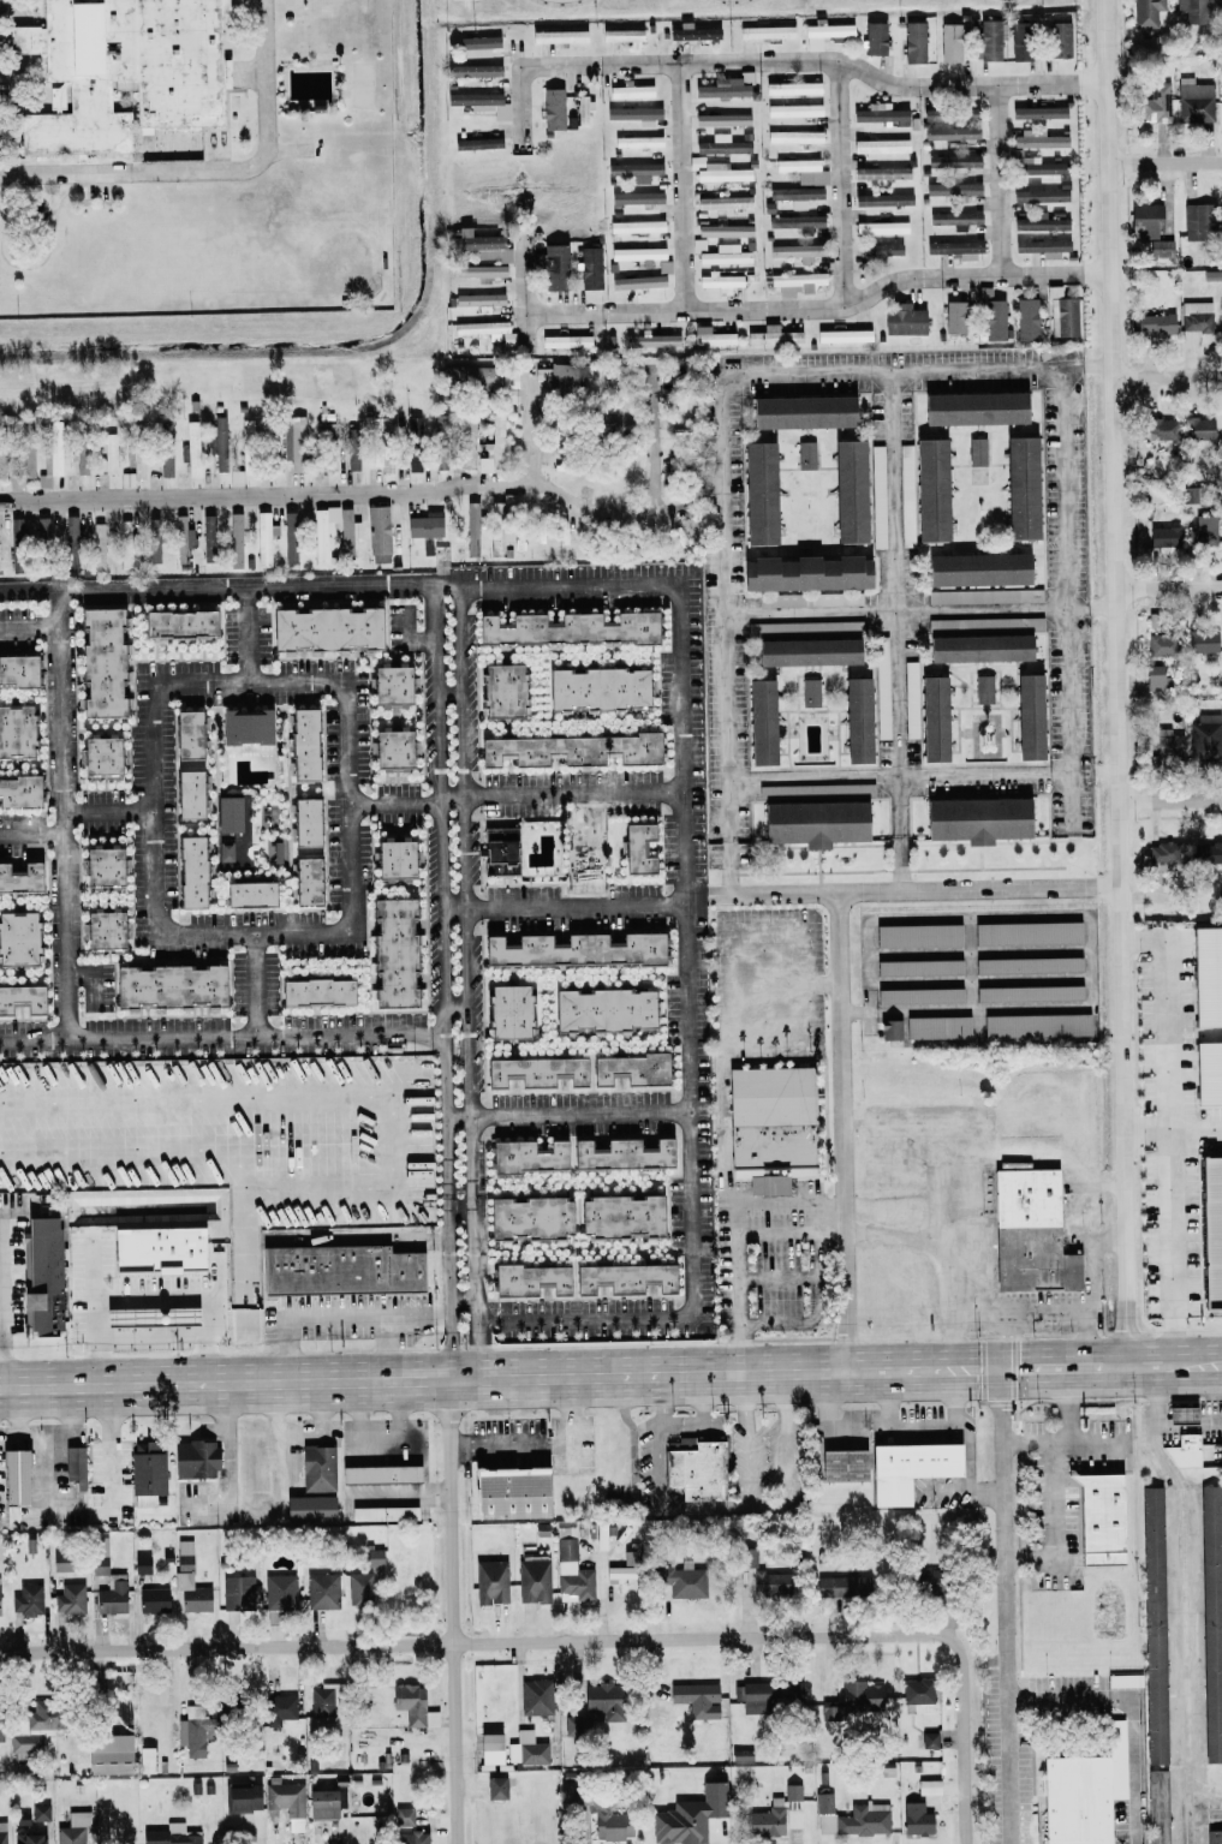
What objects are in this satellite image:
building: (1193, 11)
building: (1146, 12)
building: (691, 31)
building: (765, 31)
building: (823, 31)
building: (558, 35)
building: (622, 36)
building: (874, 37)
building: (990, 38)
building: (1059, 38)
building: (1019, 40)
building: (912, 41)
building: (949, 41)
building: (476, 46)
road: (770, 59)
building: (120, 70)
building: (471, 70)
building: (723, 86)
building: (792, 86)
building: (631, 90)
building: (1194, 100)
building: (481, 102)
building: (1155, 103)
building: (552, 108)
building: (583, 109)
building: (793, 109)
building: (1037, 112)
building: (634, 113)
building: (877, 113)
building: (947, 117)
building: (722, 119)
building: (949, 132)
building: (793, 136)
building: (1036, 138)
building: (637, 141)
building: (476, 142)
building: (727, 143)
building: (880, 145)
building: (953, 160)
building: (696, 161)
road: (1163, 161)
building: (1031, 165)
building: (633, 169)
building: (803, 169)
building: (881, 172)
building: (721, 173)
road: (219, 175)
road: (1000, 179)
road: (841, 181)
road: (680, 185)
building: (932, 189)
building: (959, 191)
building: (1038, 193)
building: (795, 195)
building: (636, 197)
building: (882, 198)
building: (723, 202)
building: (1221, 203)
building: (954, 219)
building: (1039, 220)
building: (1145, 220)
building: (1199, 221)
building: (795, 222)
building: (636, 226)
building: (881, 227)
building: (726, 229)
building: (479, 244)
building: (698, 244)
building: (1042, 246)
building: (955, 247)
building: (1160, 247)
building: (882, 249)
building: (797, 251)
building: (637, 253)
building: (725, 255)
building: (553, 265)
building: (663, 265)
building: (589, 267)
building: (477, 270)
building: (721, 280)
building: (795, 281)
building: (637, 282)
road: (526, 290)
building: (478, 299)
road: (821, 304)
building: (1061, 312)
building: (991, 315)
building: (953, 316)
building: (901, 318)
building: (1025, 318)
building: (1194, 321)
building: (1155, 323)
building: (487, 330)
building: (773, 335)
building: (842, 335)
building: (710, 336)
building: (651, 339)
building: (565, 340)
road: (1085, 366)
building: (541, 372)
road: (869, 374)
road: (1166, 375)
building: (467, 376)
building: (566, 376)
building: (972, 407)
building: (800, 411)
building: (590, 420)
building: (385, 424)
building: (412, 425)
road: (530, 425)
building: (1160, 428)
building: (1198, 428)
building: (217, 441)
building: (293, 441)
building: (467, 441)
building: (491, 446)
building: (192, 447)
building: (329, 447)
building: (976, 450)
building: (274, 452)
building: (107, 453)
building: (805, 454)
building: (81, 456)
building: (351, 458)
building: (412, 458)
building: (2, 463)
building: (49, 463)
building: (135, 463)
building: (22, 465)
building: (1020, 487)
building: (930, 489)
building: (848, 490)
building: (758, 493)
road: (405, 494)
building: (499, 523)
building: (424, 524)
building: (41, 526)
building: (376, 529)
building: (471, 529)
building: (1204, 530)
building: (321, 532)
building: (347, 532)
building: (288, 536)
building: (1163, 536)
building: (208, 537)
building: (181, 538)
building: (263, 538)
building: (153, 539)
building: (234, 539)
building: (68, 542)
building: (125, 543)
building: (97, 547)
building: (976, 568)
building: (804, 572)
road: (1168, 586)
road: (31, 589)
building: (983, 596)
building: (835, 598)
building: (781, 599)
road: (922, 610)
building: (178, 622)
building: (804, 626)
road: (31, 627)
building: (327, 627)
building: (567, 628)
road: (252, 633)
road: (898, 633)
building: (1203, 641)
building: (1160, 644)
building: (978, 648)
building: (806, 651)
building: (101, 662)
building: (17, 669)
building: (1152, 676)
building: (910, 679)
road: (245, 680)
building: (389, 682)
road: (1117, 682)
building: (881, 687)
building: (595, 688)
building: (983, 688)
road: (452, 690)
building: (501, 691)
building: (809, 692)
building: (1027, 716)
building: (931, 717)
building: (856, 720)
building: (759, 721)
building: (244, 726)
building: (17, 732)
road: (690, 733)
building: (185, 734)
building: (1205, 738)
building: (302, 744)
building: (1168, 746)
building: (389, 747)
building: (570, 750)
building: (99, 754)
road: (923, 775)
building: (839, 789)
road: (520, 792)
building: (18, 793)
building: (187, 794)
road: (1170, 798)
road: (111, 811)
building: (228, 813)
road: (68, 817)
building: (974, 819)
building: (304, 822)
building: (812, 822)
road: (35, 835)
building: (636, 848)
road: (442, 849)
road: (466, 849)
building: (497, 851)
building: (226, 852)
building: (1206, 852)
building: (393, 858)
building: (1162, 860)
building: (102, 865)
building: (190, 871)
building: (22, 877)
building: (304, 881)
building: (249, 893)
road: (924, 893)
road: (711, 896)
road: (570, 903)
building: (102, 929)
building: (1026, 932)
building: (917, 935)
building: (17, 938)
building: (573, 949)
road: (735, 949)
building: (393, 951)
road: (982, 951)
building: (1027, 963)
building: (917, 966)
road: (874, 968)
road: (977, 969)
building: (1206, 975)
road: (821, 978)
road: (983, 984)
building: (168, 986)
building: (314, 991)
building: (1027, 992)
road: (263, 995)
building: (918, 995)
building: (20, 998)
road: (458, 1004)
building: (602, 1009)
building: (507, 1010)
road: (970, 1010)
building: (1035, 1025)
building: (936, 1027)
building: (889, 1028)
road: (222, 1043)
building: (628, 1069)
building: (533, 1072)
building: (1208, 1073)
road: (291, 1103)
road: (585, 1112)
road: (460, 1115)
building: (770, 1126)
road: (1193, 1132)
road: (1145, 1133)
road: (1166, 1133)
road: (844, 1134)
building: (621, 1153)
building: (526, 1156)
road: (1041, 1157)
road: (448, 1162)
road: (475, 1162)
road: (787, 1194)
road: (946, 1209)
road: (463, 1210)
building: (621, 1216)
building: (529, 1218)
road: (831, 1221)
building: (1211, 1230)
building: (1029, 1233)
road: (896, 1235)
building: (155, 1249)
road: (476, 1265)
building: (338, 1269)
building: (41, 1277)
building: (622, 1278)
building: (527, 1279)
road: (1, 1285)
road: (449, 1285)
road: (1091, 1290)
road: (191, 1299)
road: (1, 1302)
road: (2, 1302)
road: (464, 1302)
road: (1014, 1313)
road: (339, 1315)
road: (490, 1320)
road: (477, 1342)
road: (1009, 1342)
road: (388, 1348)
road: (1162, 1366)
road: (463, 1368)
road: (1053, 1368)
traffic signals: (1002, 1369)
road: (500, 1379)
road: (702, 1407)
building: (1180, 1414)
road: (920, 1424)
road: (10, 1431)
road: (651, 1431)
road: (42, 1440)
road: (542, 1444)
road: (109, 1449)
building: (1184, 1451)
building: (1210, 1454)
building: (193, 1460)
road: (968, 1462)
building: (73, 1466)
building: (841, 1466)
road: (231, 1467)
building: (316, 1468)
building: (693, 1468)
road: (1056, 1468)
building: (906, 1469)
road: (43, 1474)
building: (147, 1474)
building: (378, 1474)
building: (12, 1476)
road: (967, 1492)
building: (507, 1493)
building: (308, 1508)
building: (382, 1512)
building: (11, 1516)
building: (1099, 1520)
building: (97, 1554)
building: (371, 1556)
building: (746, 1557)
building: (59, 1560)
building: (141, 1564)
building: (571, 1570)
building: (619, 1573)
building: (532, 1580)
building: (187, 1581)
building: (489, 1581)
building: (682, 1581)
building: (926, 1582)
building: (764, 1583)
building: (358, 1588)
building: (840, 1588)
building: (322, 1591)
building: (237, 1593)
building: (112, 1594)
building: (279, 1595)
building: (68, 1598)
building: (26, 1599)
building: (151, 1600)
road: (1184, 1600)
road: (1005, 1606)
road: (452, 1612)
building: (1211, 1622)
building: (1152, 1624)
road: (476, 1641)
building: (917, 1690)
building: (860, 1695)
building: (535, 1696)
building: (768, 1696)
building: (696, 1699)
building: (604, 1700)
building: (321, 1703)
building: (412, 1705)
building: (279, 1708)
road: (1127, 1708)
building: (36, 1730)
building: (191, 1736)
building: (929, 1738)
road: (962, 1741)
building: (488, 1742)
building: (525, 1748)
building: (108, 1754)
building: (740, 1754)
building: (144, 1760)
building: (928, 1786)
building: (494, 1788)
road: (1204, 1790)
building: (242, 1798)
building: (1074, 1800)
building: (287, 1802)
building: (322, 1803)
building: (792, 1804)
building: (1157, 1806)
building: (38, 1812)
building: (603, 1814)
building: (689, 1815)
building: (403, 1816)
building: (851, 1818)
building: (765, 1819)
building: (916, 1819)
building: (2, 1832)
building: (68, 1834)
building: (169, 1834)
building: (1214, 1836)
building: (30, 1838)
building: (409, 1838)

